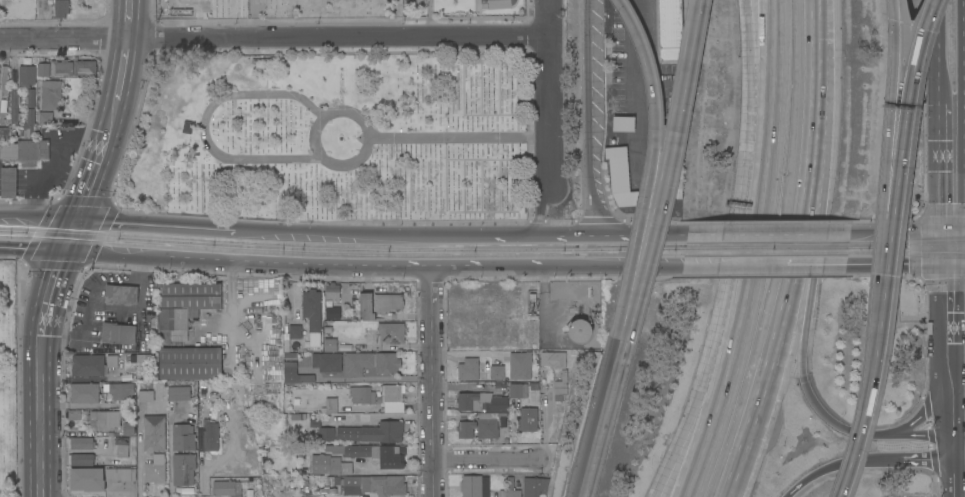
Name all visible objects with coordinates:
building: (413, 3)
building: (497, 3)
building: (58, 7)
park: (277, 12)
road: (129, 19)
building: (670, 30)
road: (963, 33)
road: (274, 38)
road: (936, 52)
building: (85, 67)
building: (61, 68)
building: (44, 69)
road: (123, 69)
building: (26, 75)
road: (751, 80)
road: (761, 81)
building: (50, 94)
building: (30, 97)
road: (549, 97)
road: (963, 105)
building: (14, 106)
road: (113, 116)
road: (585, 116)
building: (45, 117)
road: (203, 121)
building: (29, 123)
building: (623, 123)
building: (4, 133)
park: (337, 136)
road: (459, 136)
road: (906, 141)
road: (891, 142)
road: (964, 144)
building: (25, 151)
road: (359, 157)
road: (655, 168)
road: (941, 168)
road: (671, 173)
road: (95, 176)
building: (618, 177)
building: (8, 182)
road: (963, 189)
road: (541, 212)
road: (4, 214)
road: (43, 217)
traffic signals: (80, 219)
road: (156, 224)
road: (75, 229)
road: (958, 230)
road: (902, 231)
traffic signals: (952, 231)
road: (559, 232)
road: (770, 232)
road: (331, 233)
railway: (906, 240)
road: (748, 244)
railway: (766, 244)
road: (66, 246)
railway: (342, 246)
road: (31, 249)
road: (950, 249)
road: (957, 249)
traffic signals: (63, 252)
road: (798, 253)
road: (100, 255)
railway: (341, 255)
railway: (766, 256)
railway: (906, 256)
road: (956, 266)
road: (766, 267)
road: (897, 267)
traffic signals: (948, 267)
road: (648, 268)
road: (373, 269)
building: (332, 291)
road: (46, 292)
building: (121, 293)
parking lot: (909, 300)
building: (387, 302)
building: (183, 306)
building: (366, 306)
building: (333, 312)
building: (313, 314)
road: (806, 320)
road: (948, 323)
building: (580, 330)
building: (295, 332)
building: (391, 332)
building: (118, 333)
building: (330, 344)
road: (957, 347)
building: (553, 359)
building: (327, 362)
building: (370, 362)
building: (190, 363)
building: (92, 364)
road: (433, 365)
building: (520, 365)
building: (468, 369)
building: (497, 372)
building: (296, 374)
park: (8, 381)
building: (561, 383)
road: (958, 389)
building: (121, 390)
building: (515, 390)
road: (870, 392)
building: (85, 393)
building: (179, 393)
building: (145, 395)
building: (363, 395)
building: (393, 397)
building: (482, 402)
building: (331, 405)
road: (692, 412)
road: (707, 412)
road: (955, 413)
building: (74, 414)
road: (39, 416)
building: (105, 419)
building: (503, 419)
building: (527, 419)
road: (602, 419)
road: (921, 419)
building: (129, 422)
building: (479, 426)
building: (323, 430)
building: (154, 432)
building: (373, 432)
road: (917, 434)
building: (208, 436)
building: (183, 437)
building: (81, 443)
building: (122, 446)
road: (960, 451)
building: (373, 453)
building: (81, 458)
road: (898, 459)
road: (486, 460)
building: (330, 465)
building: (155, 469)
building: (184, 469)
road: (956, 472)
building: (120, 474)
road: (810, 476)
building: (87, 479)
road: (434, 479)
building: (374, 485)
building: (474, 485)
building: (535, 486)
building: (227, 488)
building: (510, 493)

